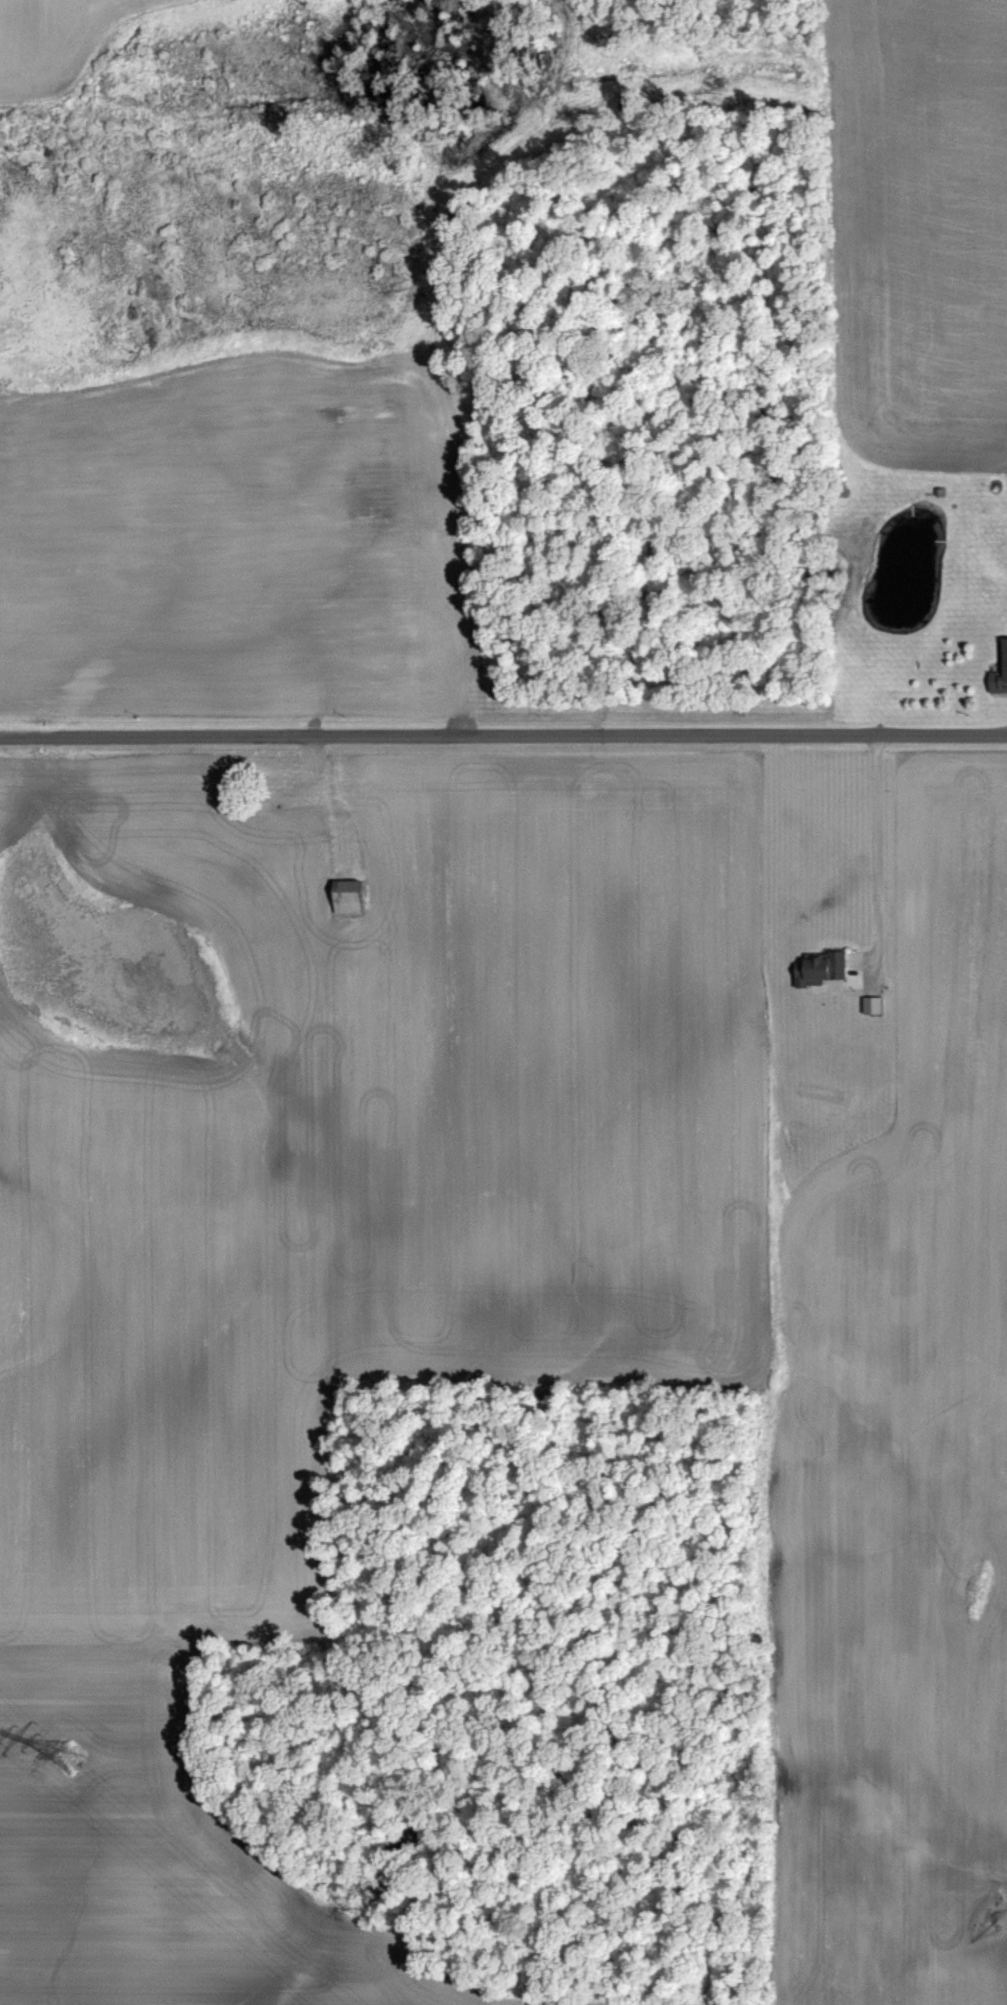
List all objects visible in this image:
building: (1002, 664)
road: (503, 725)
road: (885, 846)
building: (344, 898)
building: (817, 969)
building: (871, 1006)
power tower: (64, 1759)

